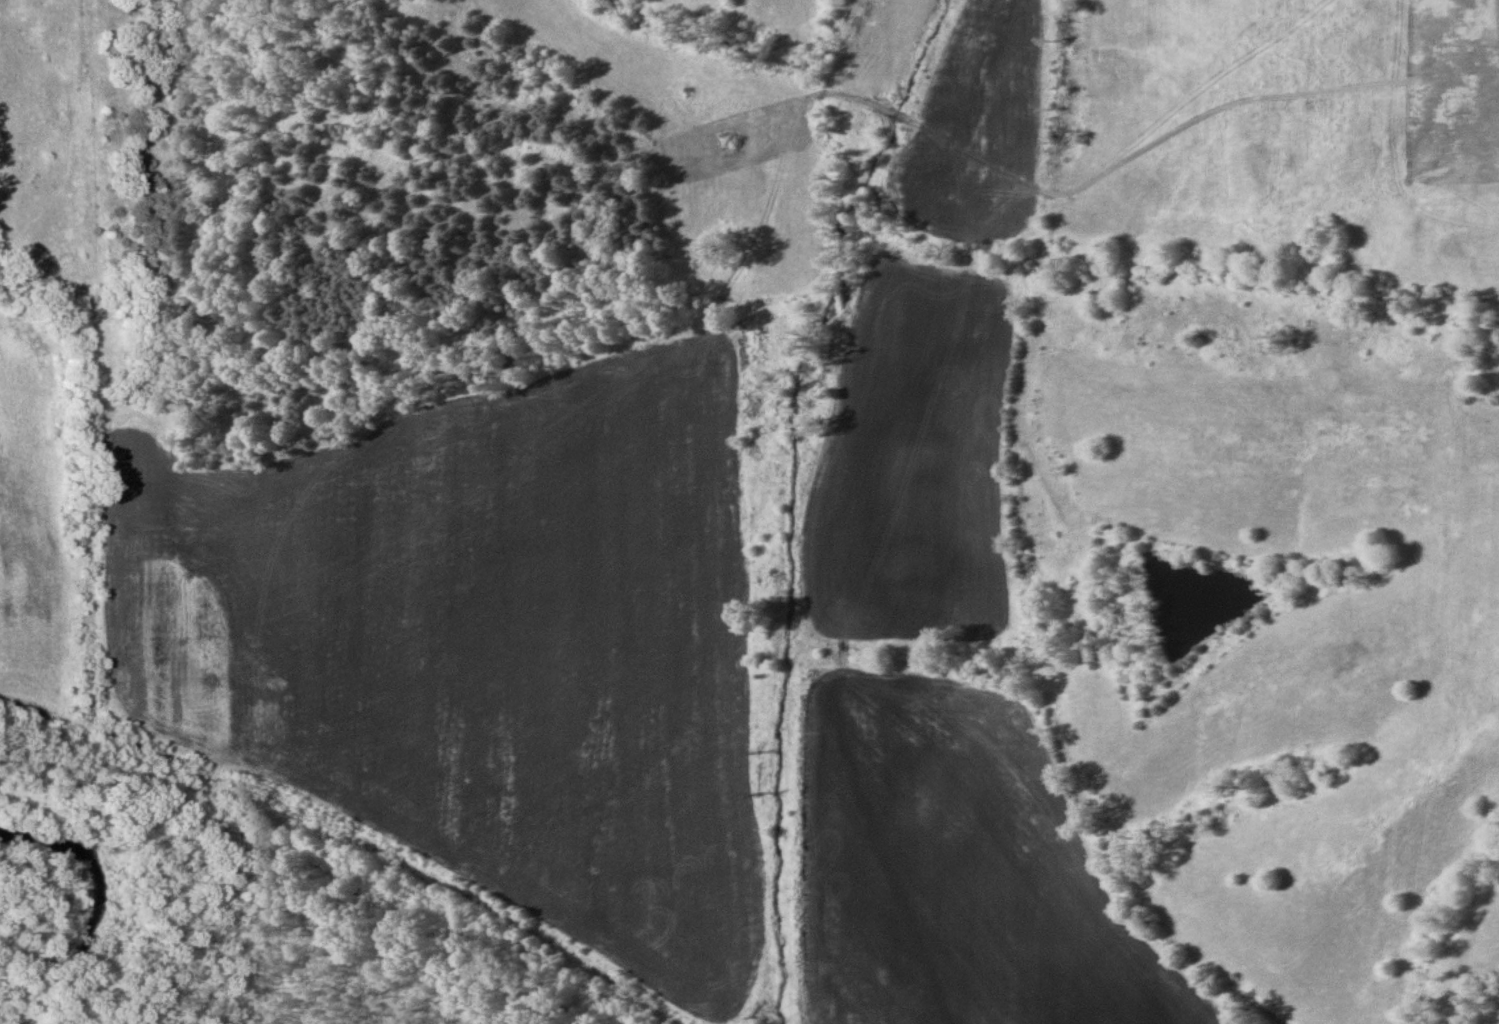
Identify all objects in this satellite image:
road: (1428, 4)

